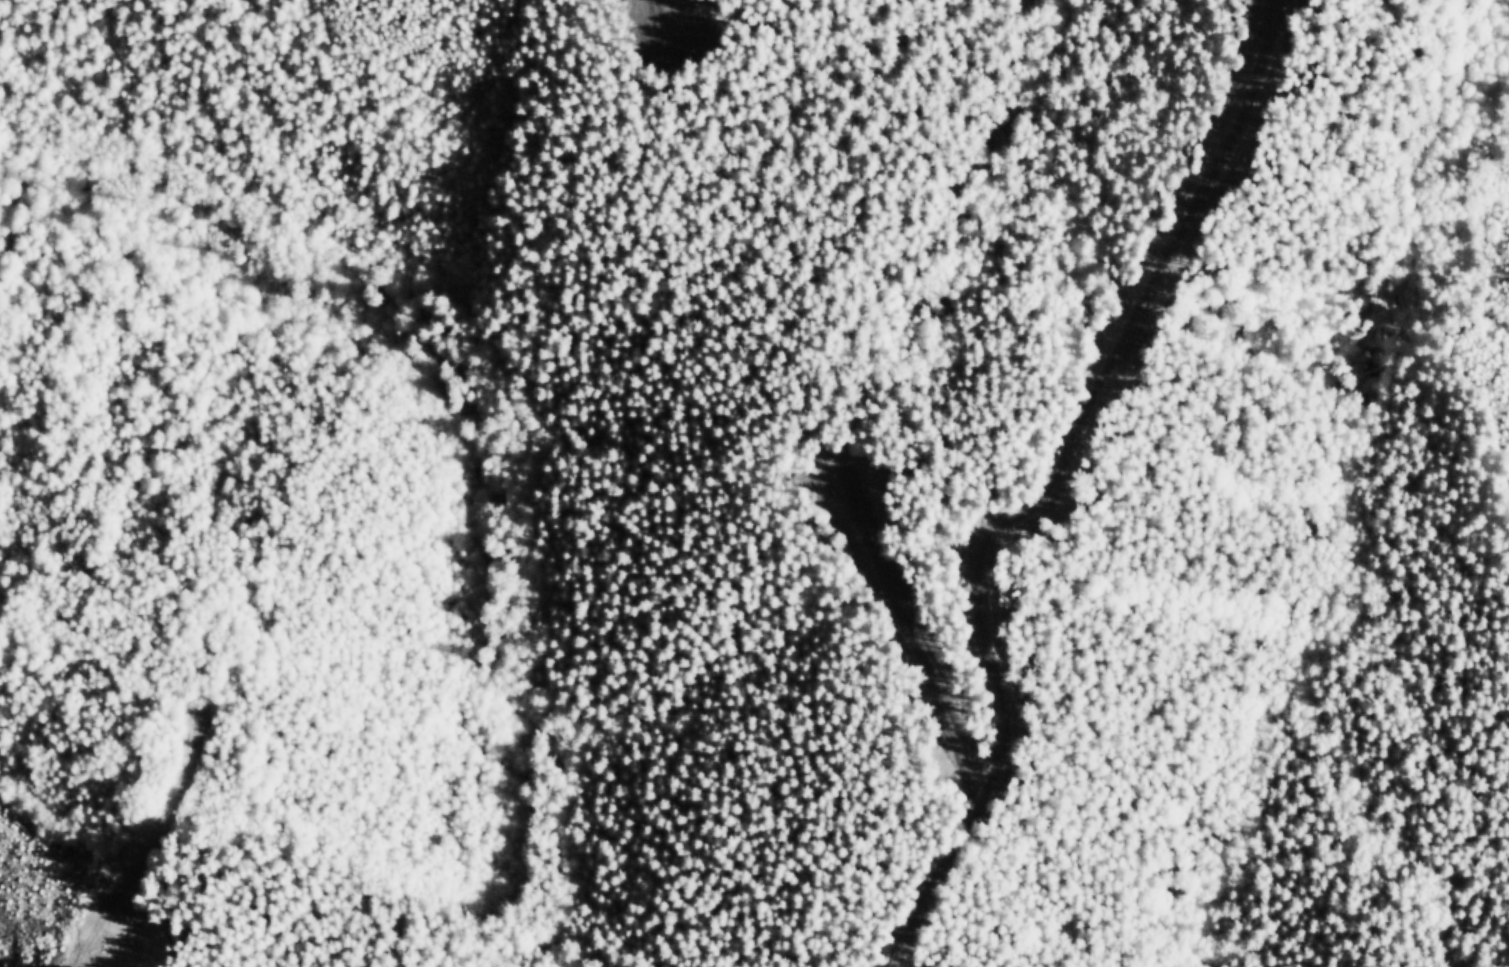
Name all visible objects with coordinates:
road: (985, 785)

